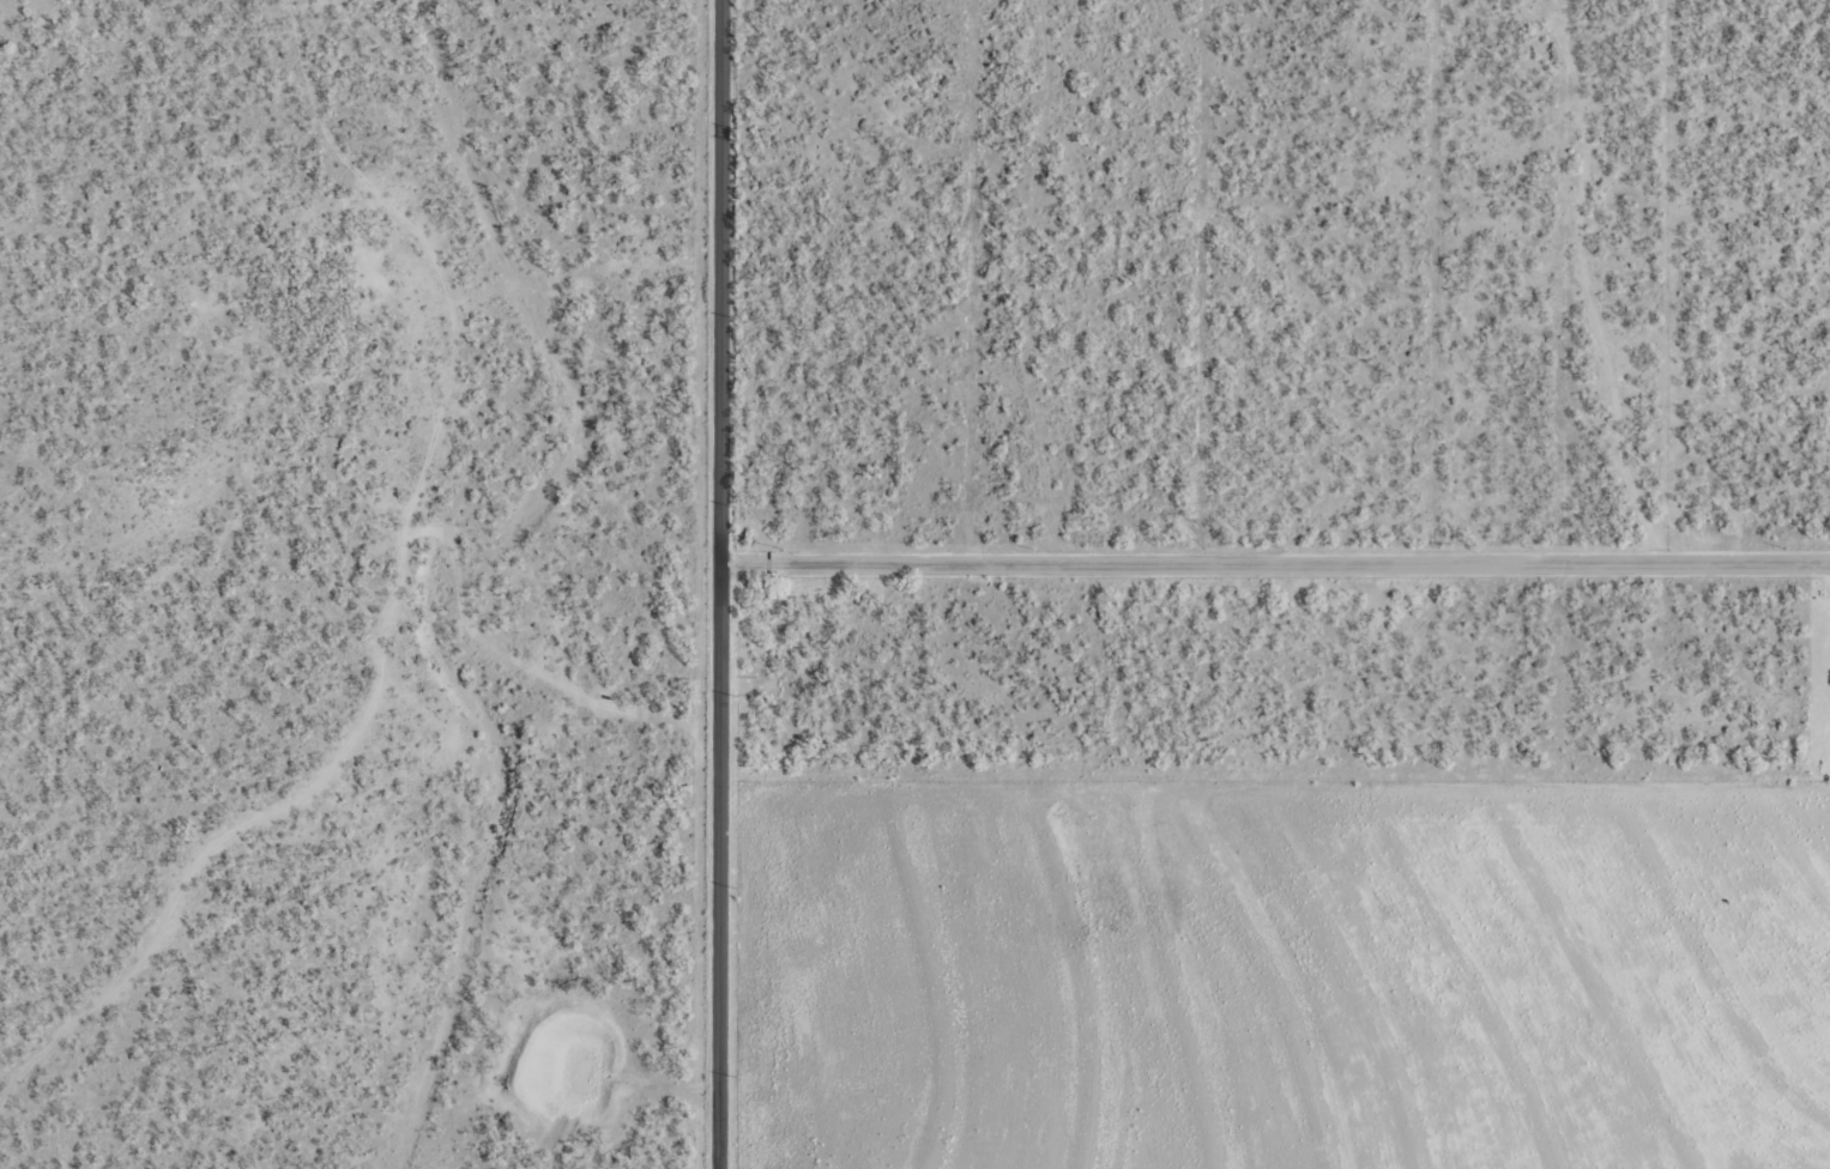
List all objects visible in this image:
road: (1279, 565)
road: (727, 584)

